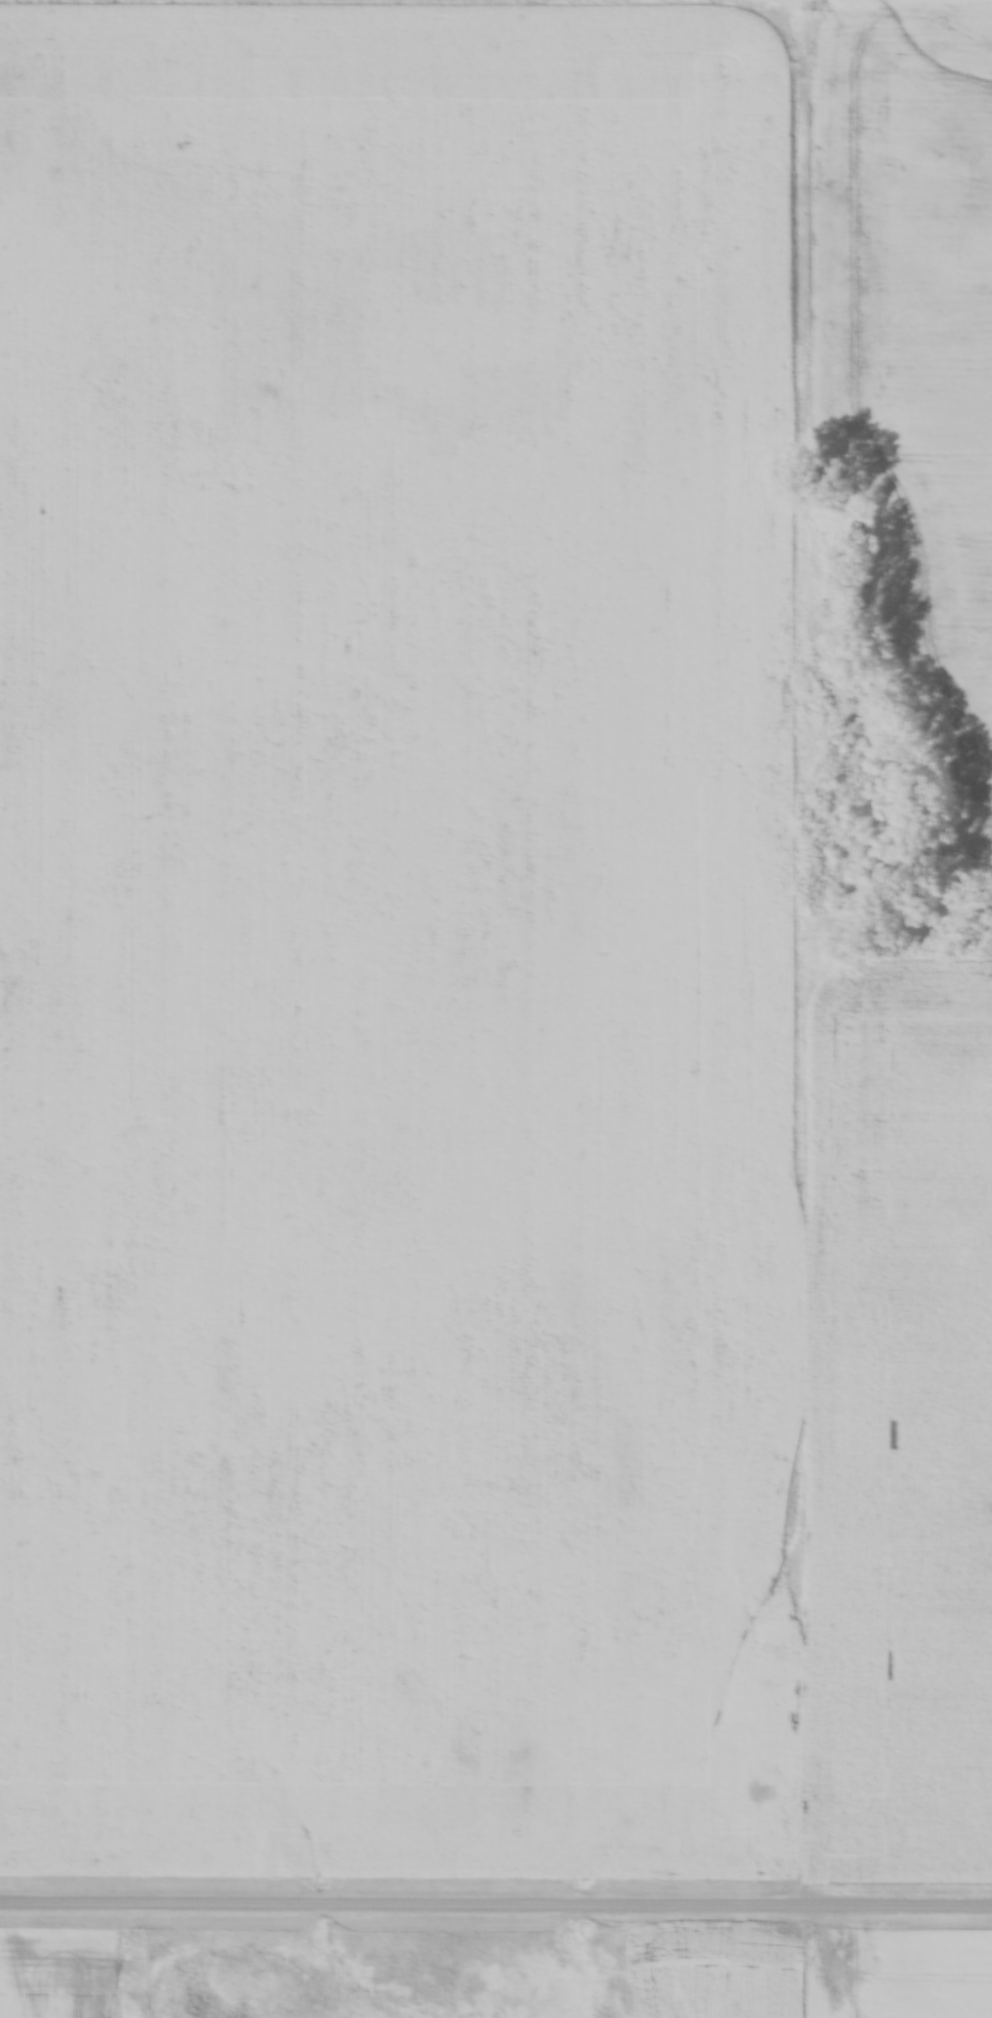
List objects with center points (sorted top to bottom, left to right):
road: (496, 1906)

